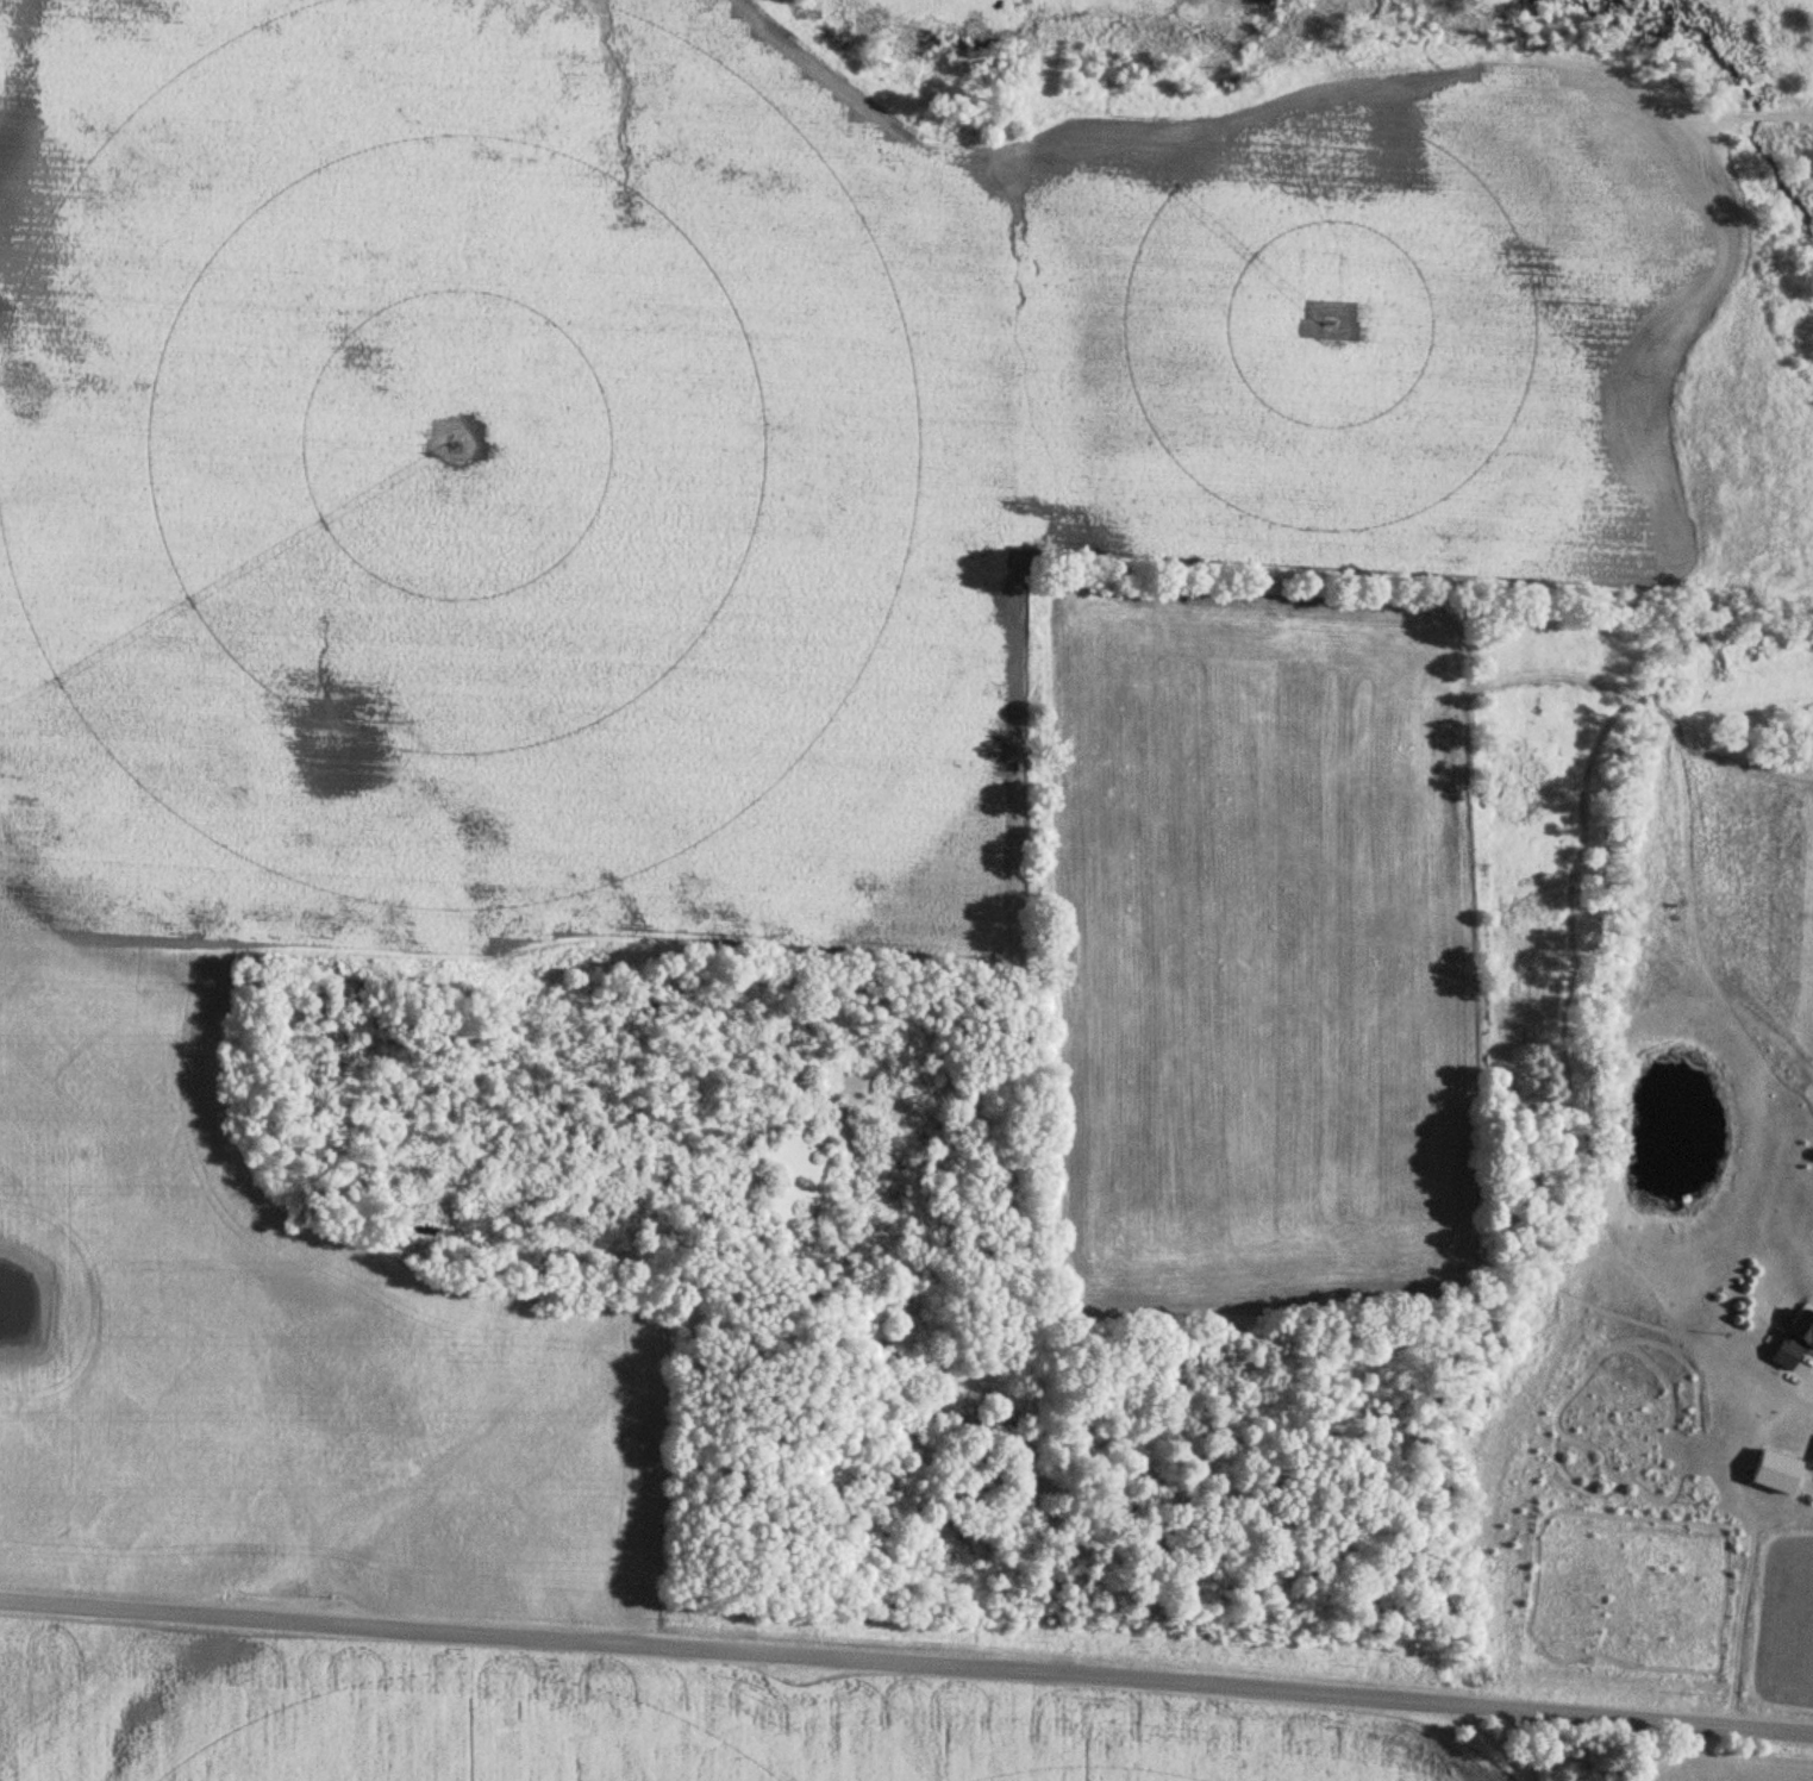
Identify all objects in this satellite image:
building: (1793, 1339)
road: (1805, 1368)
building: (1812, 1466)
road: (906, 1663)

